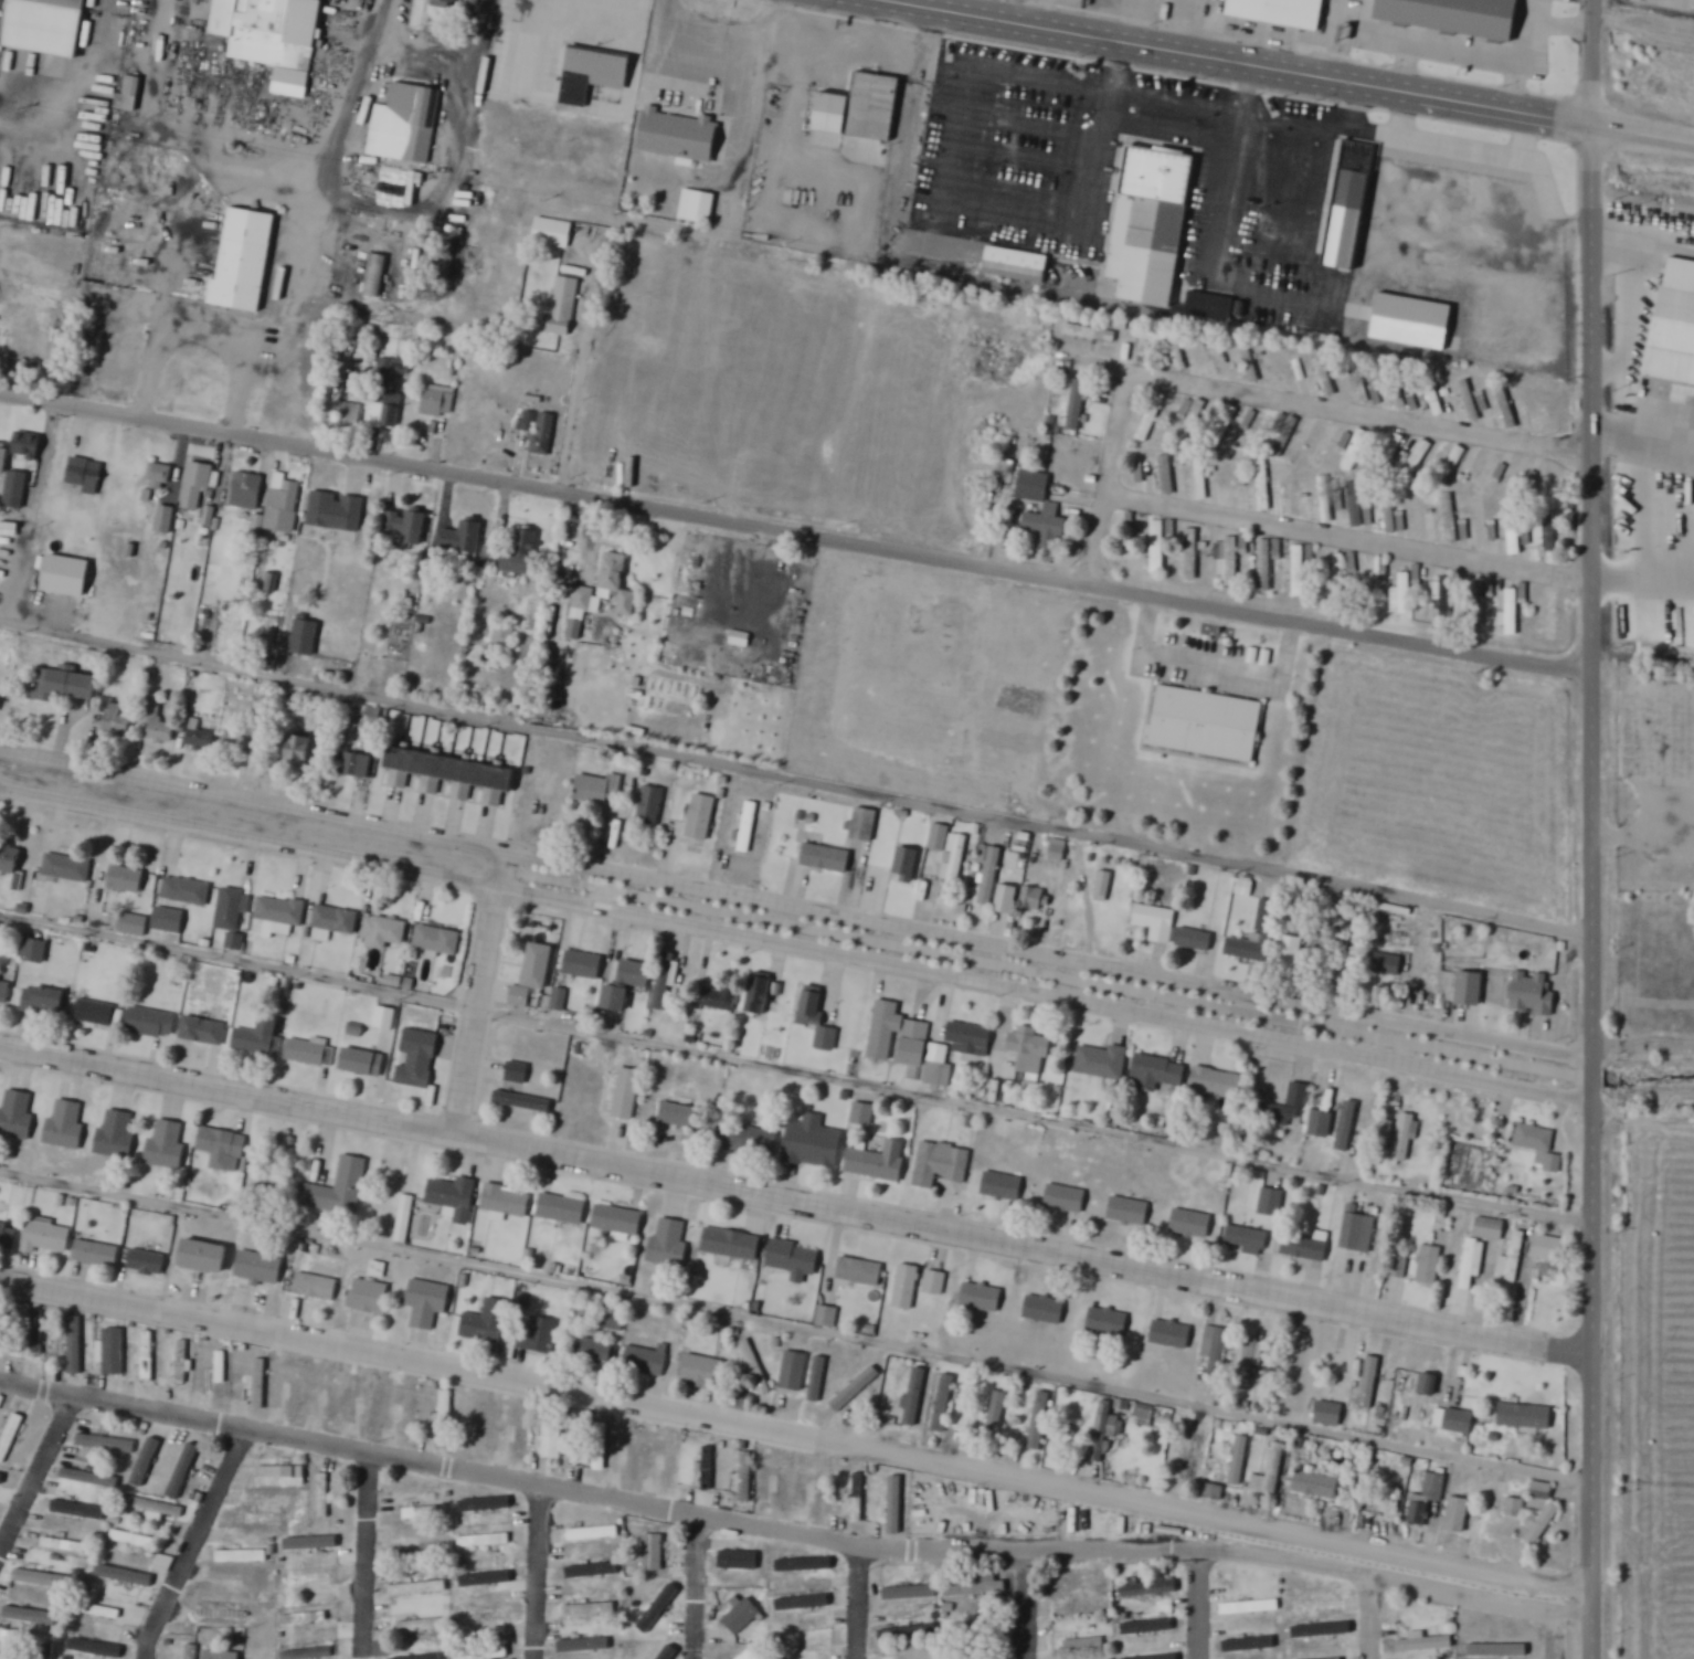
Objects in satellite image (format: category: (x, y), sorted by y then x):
building: (446, 4)
building: (1279, 10)
building: (1453, 15)
building: (44, 27)
building: (271, 31)
road: (1234, 61)
road: (1592, 63)
building: (594, 75)
road: (83, 88)
building: (130, 95)
road: (463, 96)
building: (856, 109)
building: (405, 123)
road: (1642, 135)
building: (680, 136)
building: (1348, 204)
building: (697, 207)
building: (1153, 226)
building: (553, 233)
building: (244, 260)
building: (1015, 264)
building: (377, 276)
building: (1208, 306)
building: (564, 307)
building: (1410, 319)
building: (1091, 335)
building: (1673, 339)
road: (1642, 368)
building: (1325, 378)
road: (1257, 393)
building: (1432, 397)
building: (438, 404)
road: (578, 406)
building: (1077, 406)
building: (1508, 410)
building: (384, 411)
building: (1152, 419)
building: (533, 433)
building: (28, 445)
building: (1315, 448)
building: (1355, 450)
building: (3, 458)
building: (1419, 458)
building: (1457, 459)
building: (1479, 474)
building: (159, 477)
building: (1513, 477)
building: (1031, 486)
building: (198, 487)
building: (1263, 487)
building: (17, 490)
building: (247, 492)
building: (1325, 500)
building: (283, 504)
building: (1355, 505)
building: (336, 511)
building: (1373, 518)
building: (1420, 518)
building: (1450, 519)
building: (1394, 520)
building: (165, 521)
building: (1479, 525)
building: (410, 526)
road: (795, 532)
building: (1549, 532)
building: (1514, 535)
road: (1348, 536)
building: (464, 538)
building: (1158, 546)
building: (523, 553)
building: (1192, 554)
building: (1230, 560)
building: (1266, 566)
building: (1300, 571)
building: (1338, 577)
building: (1372, 577)
road: (1642, 580)
building: (620, 584)
building: (1402, 595)
building: (1439, 599)
building: (583, 600)
road: (1591, 604)
building: (1511, 613)
building: (1553, 619)
building: (306, 638)
building: (64, 687)
building: (1, 696)
building: (156, 720)
building: (118, 721)
building: (1204, 723)
building: (201, 739)
building: (237, 744)
building: (299, 754)
building: (358, 767)
crop: (1439, 774)
building: (457, 775)
road: (796, 776)
building: (597, 789)
building: (652, 806)
building: (700, 817)
building: (864, 824)
building: (745, 829)
road: (1643, 832)
building: (1059, 850)
building: (949, 853)
building: (825, 857)
building: (10, 860)
building: (907, 864)
building: (67, 868)
building: (988, 874)
building: (125, 878)
building: (1104, 888)
building: (187, 891)
building: (1008, 901)
building: (1037, 901)
building: (233, 910)
building: (282, 915)
building: (168, 920)
building: (337, 920)
road: (796, 923)
building: (1156, 923)
building: (135, 926)
building: (0, 927)
building: (385, 932)
building: (1266, 934)
building: (1193, 939)
building: (437, 940)
building: (35, 953)
building: (1291, 953)
building: (1386, 964)
building: (583, 965)
building: (539, 966)
building: (665, 983)
building: (4, 991)
building: (1534, 994)
building: (762, 996)
building: (614, 997)
road: (480, 1000)
building: (717, 1000)
building: (44, 1002)
building: (560, 1002)
building: (95, 1013)
building: (818, 1018)
building: (150, 1022)
building: (385, 1029)
building: (882, 1031)
building: (204, 1032)
building: (261, 1038)
building: (913, 1042)
road: (1643, 1044)
building: (1031, 1050)
building: (308, 1054)
building: (417, 1060)
building: (1102, 1063)
road: (795, 1070)
building: (515, 1072)
building: (1158, 1074)
building: (1218, 1085)
building: (627, 1095)
building: (1299, 1095)
building: (522, 1103)
building: (862, 1113)
building: (17, 1116)
building: (680, 1116)
building: (66, 1126)
building: (1321, 1126)
building: (1345, 1127)
building: (116, 1135)
building: (1401, 1137)
building: (750, 1141)
building: (167, 1144)
building: (815, 1144)
building: (1539, 1148)
building: (222, 1149)
building: (880, 1163)
building: (942, 1165)
building: (1000, 1186)
building: (339, 1188)
building: (1319, 1190)
building: (453, 1193)
building: (1063, 1198)
building: (507, 1201)
road: (794, 1201)
building: (1270, 1203)
building: (561, 1208)
building: (1126, 1209)
building: (406, 1219)
building: (618, 1221)
building: (1189, 1223)
building: (1487, 1228)
building: (1355, 1230)
building: (8, 1236)
building: (47, 1237)
building: (1248, 1239)
building: (669, 1245)
building: (732, 1245)
building: (1306, 1248)
building: (1548, 1249)
building: (97, 1254)
building: (207, 1257)
building: (1516, 1258)
building: (795, 1260)
building: (148, 1264)
building: (1430, 1267)
building: (261, 1269)
building: (860, 1272)
building: (934, 1282)
building: (906, 1286)
building: (315, 1287)
building: (370, 1297)
building: (982, 1298)
building: (428, 1302)
building: (1046, 1310)
building: (827, 1317)
building: (486, 1321)
building: (1109, 1323)
road: (795, 1325)
building: (3, 1328)
building: (36, 1329)
building: (1172, 1335)
building: (538, 1336)
building: (76, 1345)
building: (592, 1351)
building: (1216, 1351)
building: (114, 1352)
building: (148, 1356)
building: (1252, 1359)
building: (647, 1361)
building: (182, 1362)
building: (755, 1367)
building: (1294, 1369)
building: (794, 1371)
road: (1590, 1371)
building: (703, 1373)
building: (222, 1374)
building: (817, 1380)
building: (1369, 1382)
building: (840, 1383)
crop: (1658, 1388)
building: (946, 1391)
building: (1441, 1391)
building: (297, 1392)
building: (333, 1393)
building: (915, 1397)
building: (406, 1407)
building: (997, 1414)
building: (1145, 1414)
building: (1328, 1414)
building: (445, 1416)
building: (1526, 1416)
building: (481, 1422)
building: (1039, 1422)
building: (1459, 1422)
building: (516, 1429)
road: (795, 1434)
building: (554, 1439)
building: (107, 1444)
building: (634, 1456)
building: (1198, 1458)
building: (709, 1459)
building: (601, 1460)
building: (1240, 1460)
building: (1175, 1463)
building: (184, 1470)
building: (1271, 1472)
road: (36, 1475)
building: (283, 1476)
building: (747, 1477)
building: (784, 1484)
building: (1316, 1484)
building: (822, 1490)
building: (1393, 1491)
building: (1543, 1491)
building: (1215, 1492)
building: (858, 1498)
building: (1428, 1500)
building: (894, 1504)
building: (1515, 1508)
building: (155, 1509)
building: (425, 1512)
building: (274, 1515)
road: (711, 1515)
building: (1459, 1515)
building: (1543, 1526)
building: (584, 1534)
building: (485, 1540)
building: (135, 1541)
road: (192, 1542)
building: (60, 1545)
building: (654, 1553)
road: (368, 1555)
building: (242, 1556)
building: (165, 1564)
road: (537, 1572)
building: (589, 1572)
building: (124, 1576)
building: (44, 1579)
building: (309, 1579)
building: (483, 1579)
building: (978, 1585)
road: (697, 1586)
building: (1169, 1586)
building: (417, 1588)
building: (1133, 1591)
building: (910, 1593)
road: (858, 1602)
building: (803, 1603)
road: (1026, 1603)
road: (1197, 1604)
building: (1080, 1607)
building: (1249, 1607)
building: (590, 1609)
building: (99, 1612)
building: (222, 1614)
building: (656, 1615)
building: (308, 1617)
building: (483, 1617)
building: (742, 1617)
road: (1555, 1618)
building: (420, 1626)
building: (970, 1630)
building: (908, 1632)
building: (801, 1640)
building: (1423, 1644)
building: (1084, 1645)
building: (1245, 1646)
road: (1369, 1646)
building: (94, 1649)
building: (383, 1649)
building: (43, 1651)
building: (190, 1651)
building: (1499, 1651)
building: (490, 1652)
building: (310, 1653)
building: (222, 1655)
building: (410, 1655)
building: (669, 1655)
building: (748, 1655)
building: (428, 1658)

